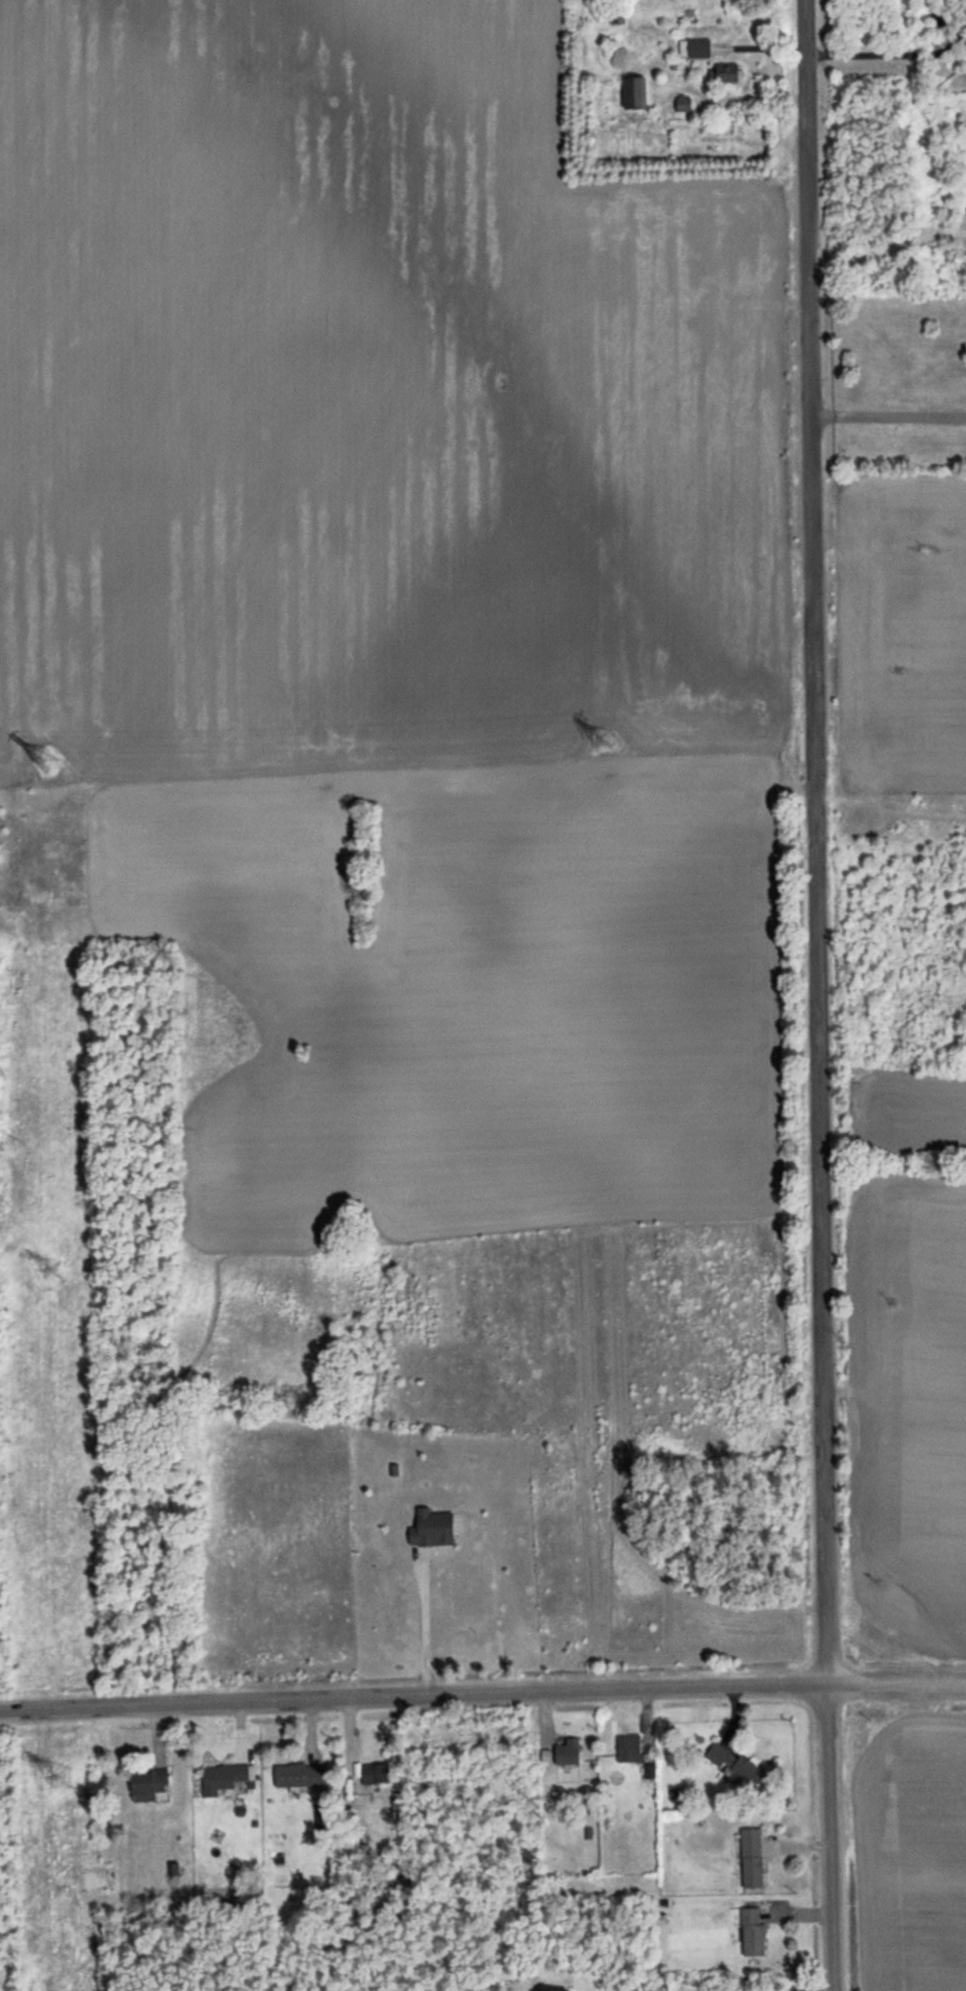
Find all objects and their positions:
building: (694, 47)
road: (893, 54)
building: (727, 72)
building: (634, 92)
building: (683, 103)
road: (887, 246)
road: (888, 415)
power tower: (600, 737)
power tower: (43, 758)
road: (816, 840)
power tower: (51, 1270)
building: (432, 1528)
road: (426, 1630)
road: (897, 1682)
road: (414, 1695)
building: (629, 1748)
building: (567, 1750)
building: (735, 1766)
building: (375, 1773)
building: (300, 1774)
power tower: (59, 1775)
building: (225, 1777)
building: (147, 1784)
road: (831, 1836)
building: (751, 1857)
building: (752, 1932)
road: (822, 1988)
building: (552, 1990)

